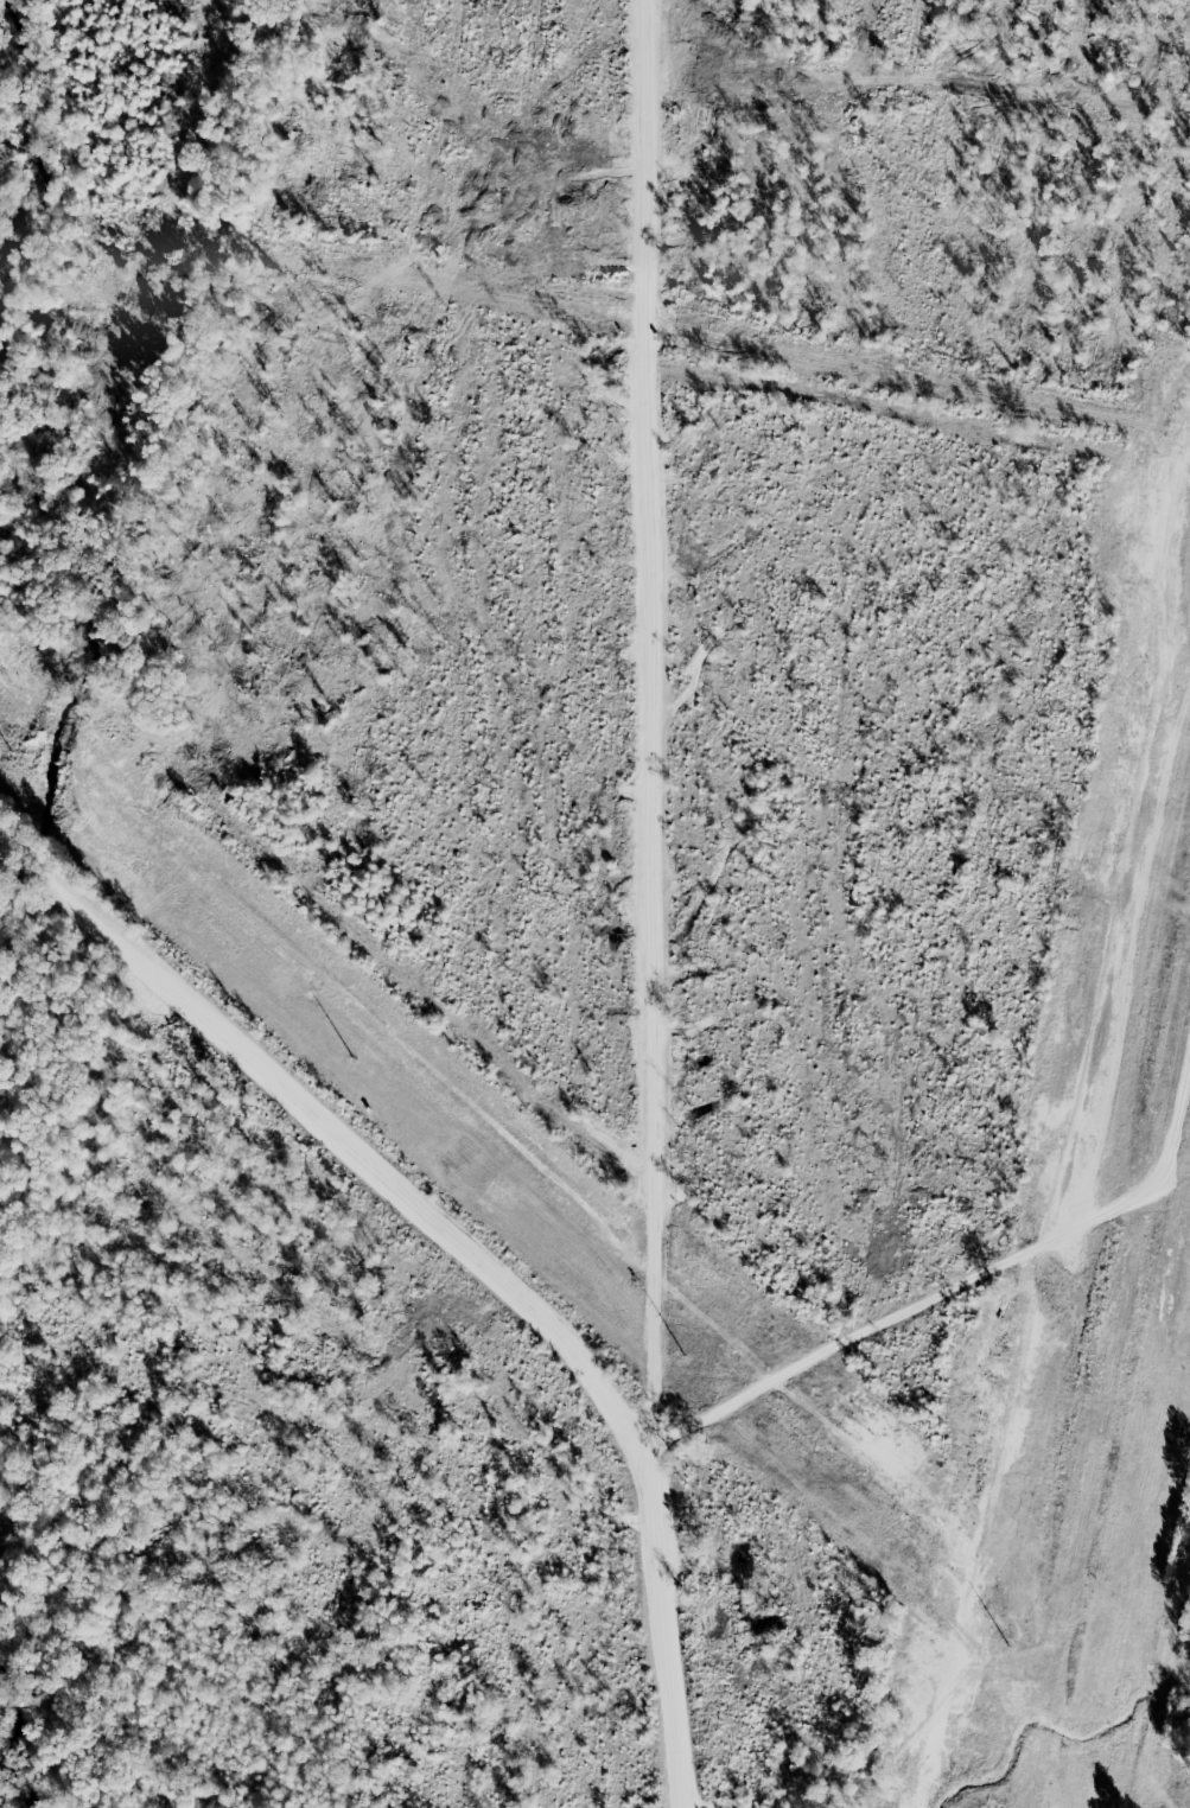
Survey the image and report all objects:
power tower: (15, 763)
road: (691, 904)
power tower: (358, 1067)
road: (346, 1129)
road: (923, 1260)
power tower: (702, 1368)
power tower: (1037, 1675)

